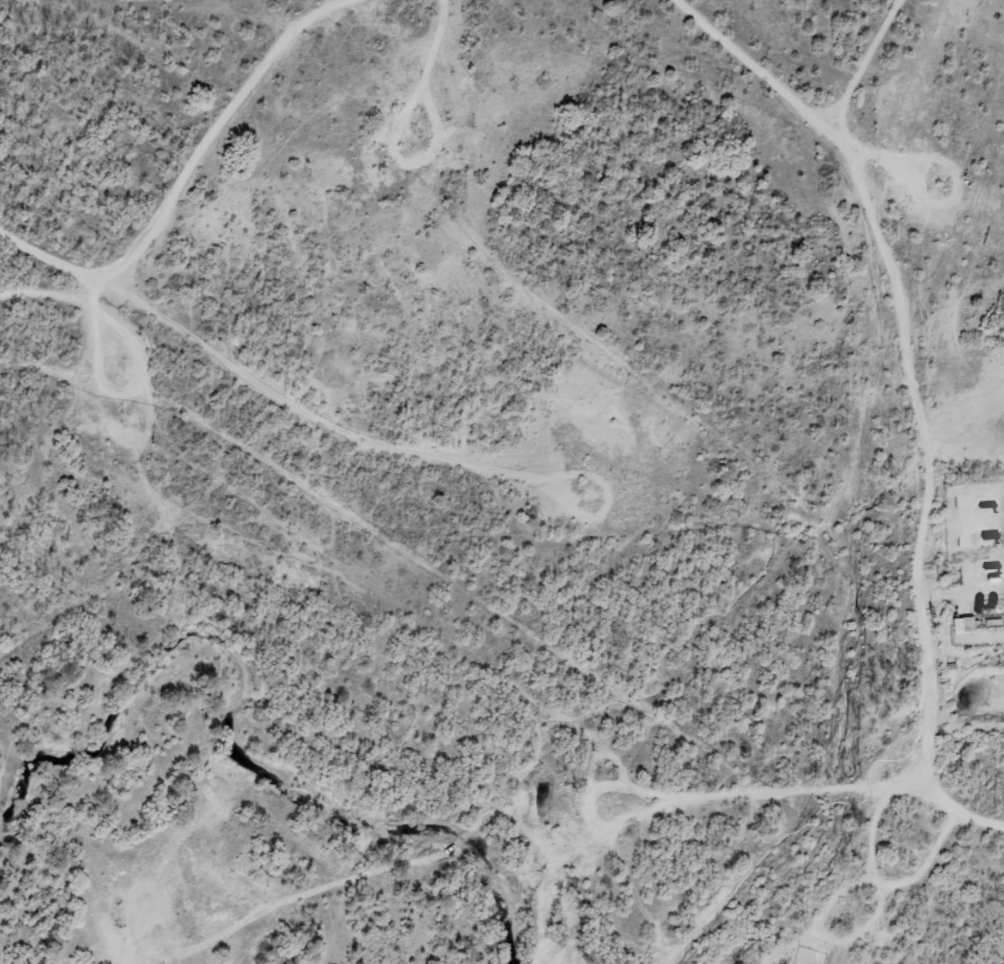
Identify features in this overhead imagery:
building: (953, 627)

